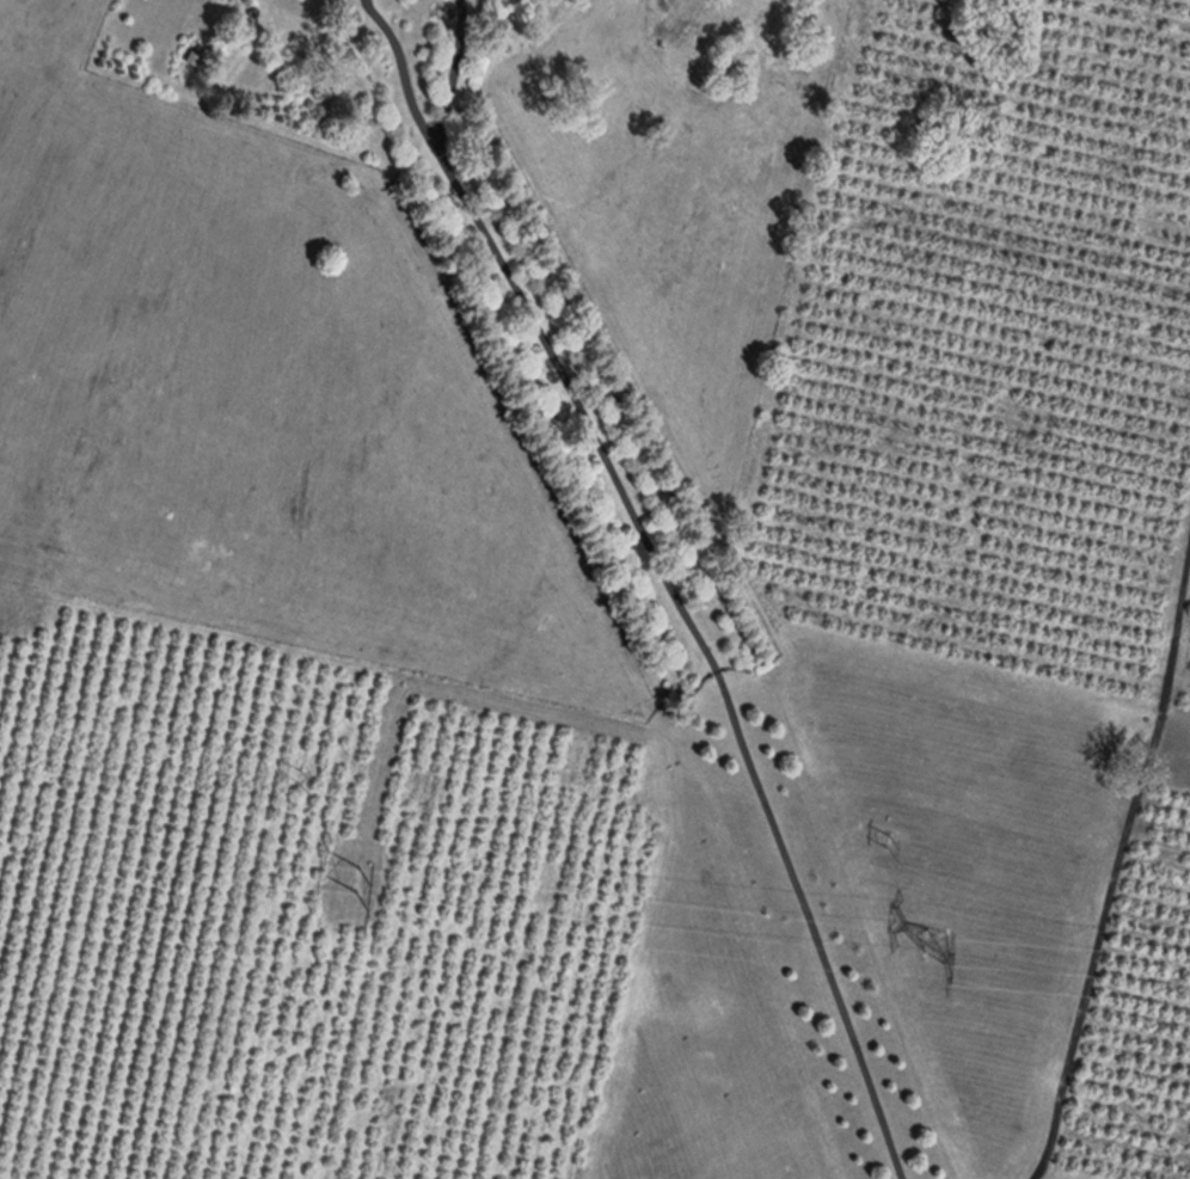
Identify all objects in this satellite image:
road: (407, 78)
road: (456, 79)
road: (709, 652)
power tower: (302, 760)
power tower: (887, 824)
power tower: (360, 854)
road: (1118, 859)
power tower: (912, 916)

